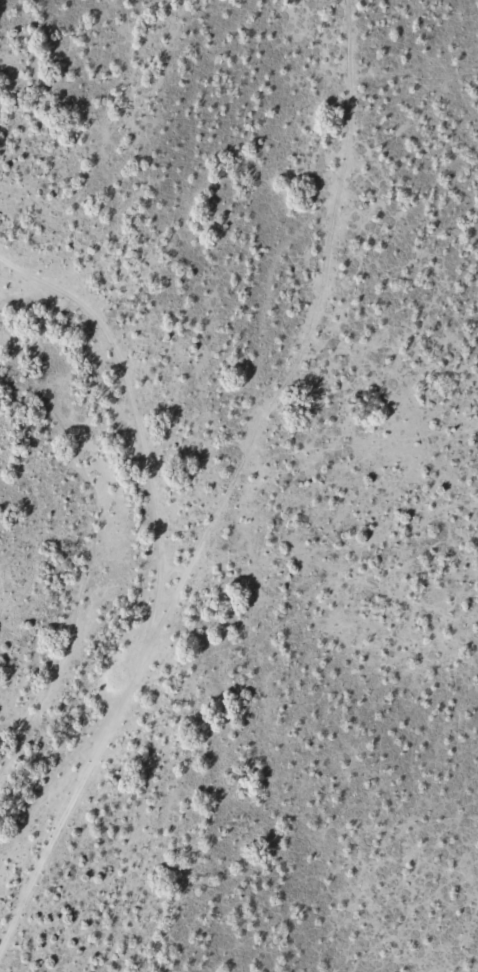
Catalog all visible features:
road: (98, 400)
road: (216, 475)

